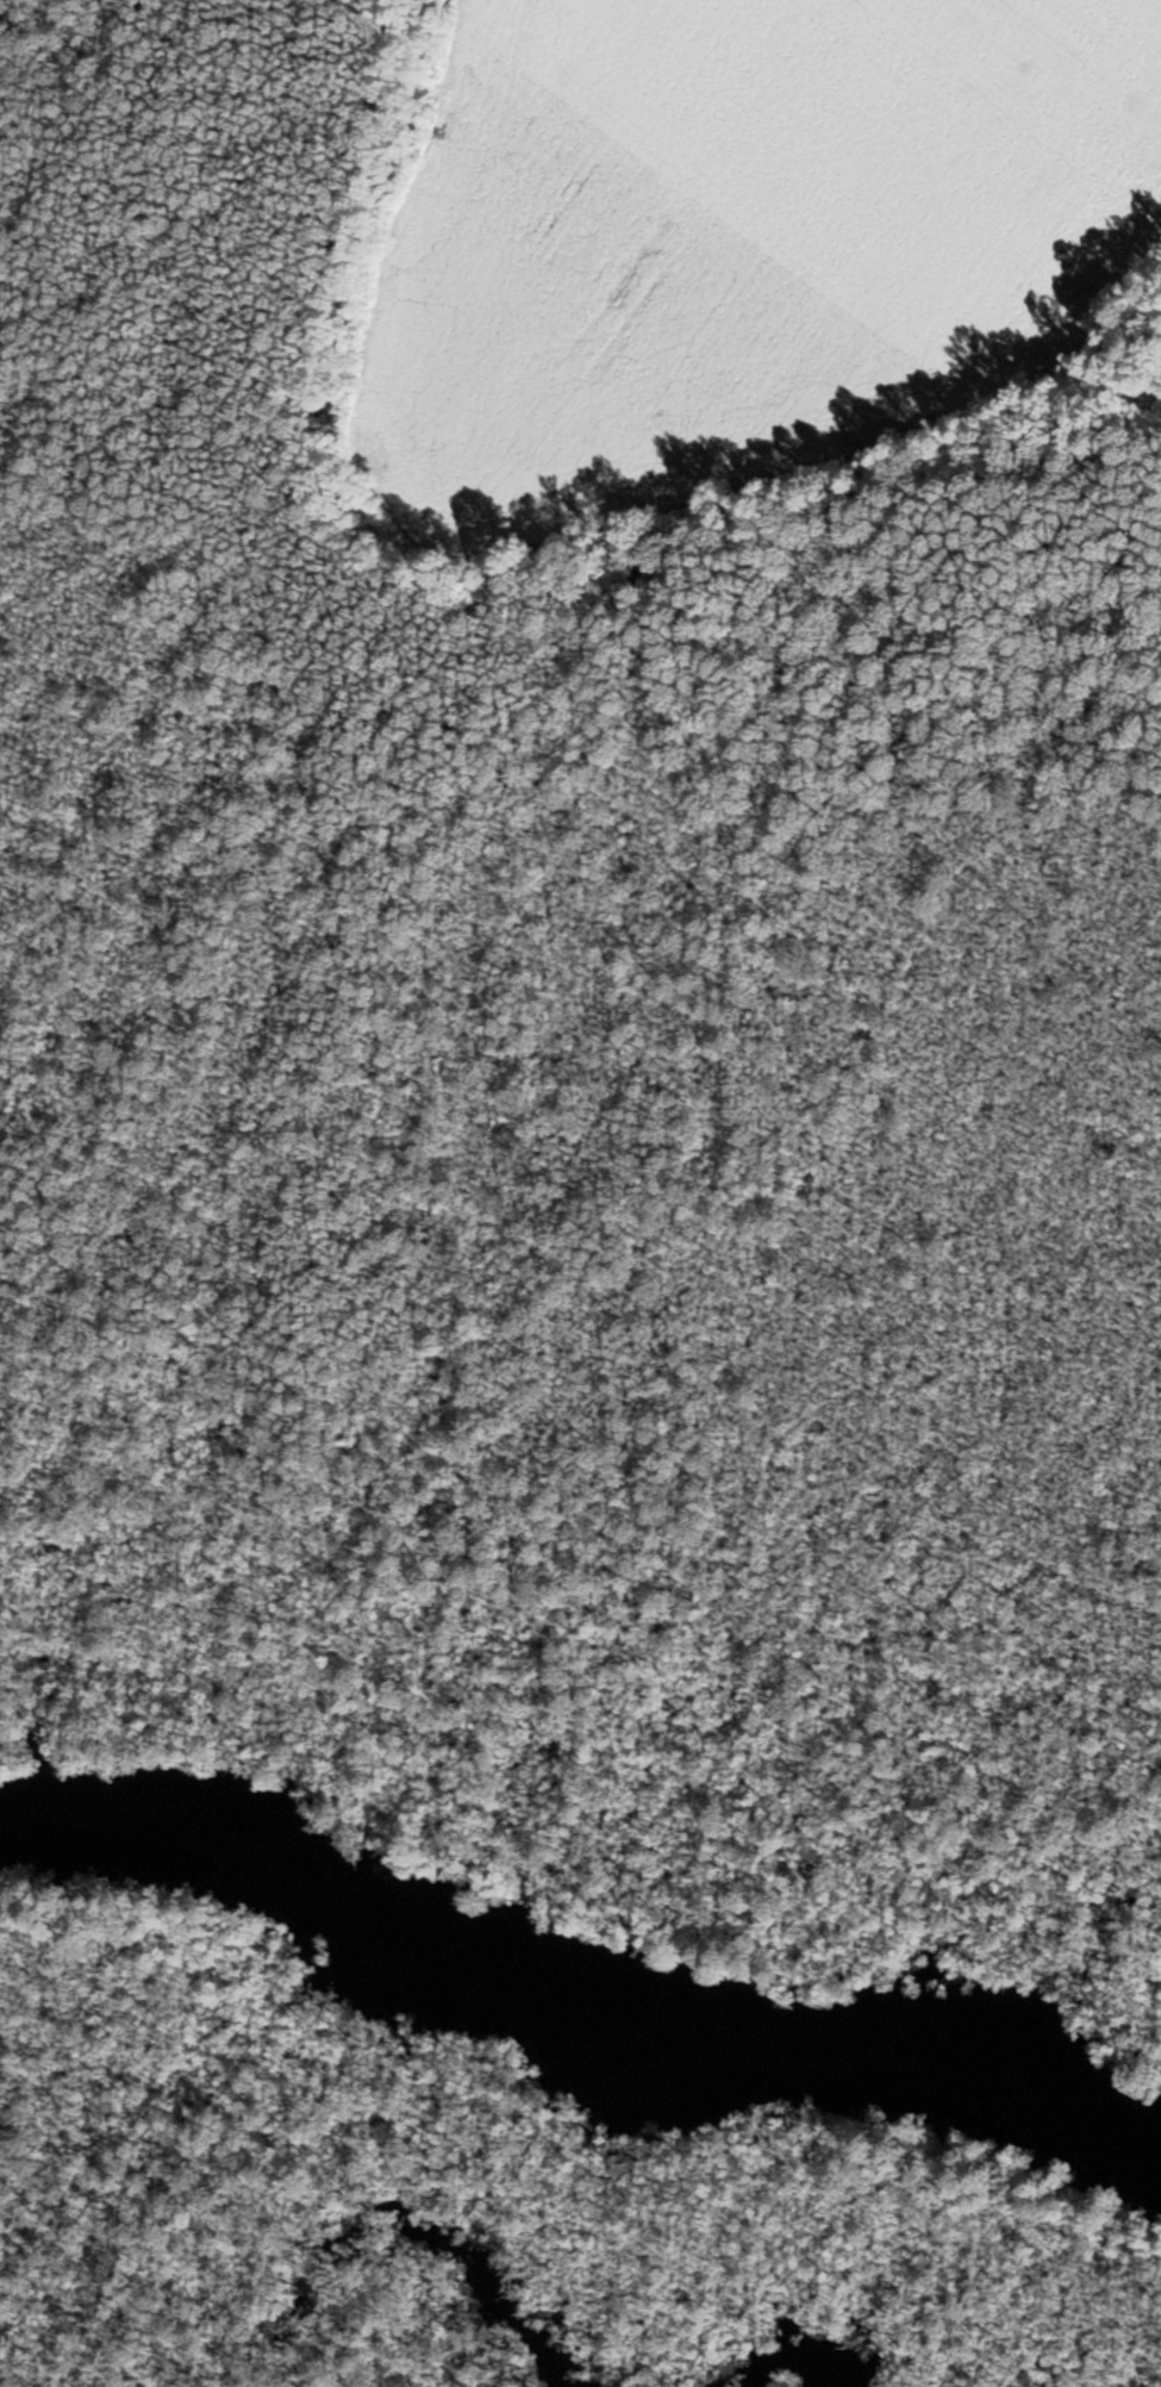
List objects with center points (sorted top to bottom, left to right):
river: (576, 2003)

